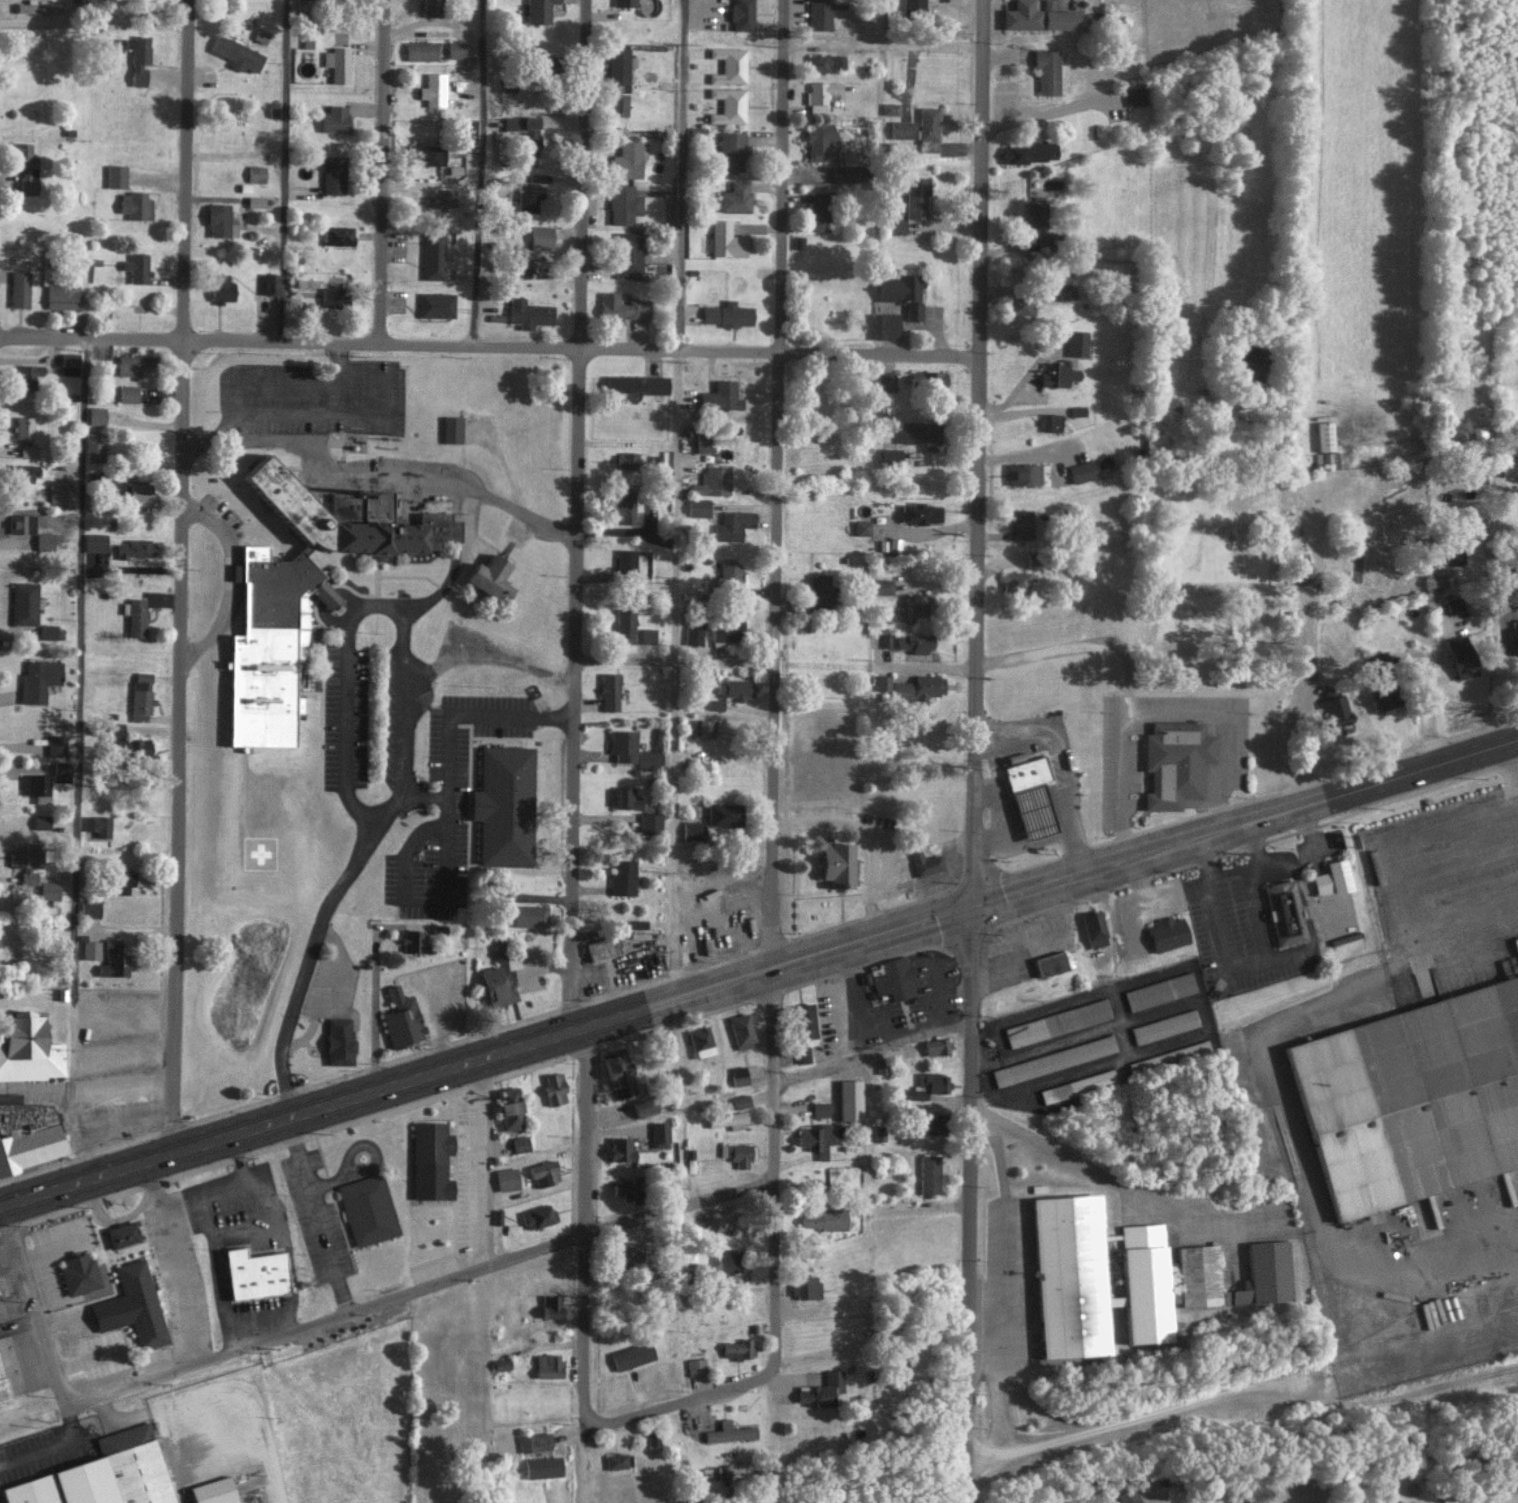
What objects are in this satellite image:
building: (623, 3)
building: (38, 7)
building: (432, 7)
building: (913, 8)
building: (539, 11)
building: (819, 14)
building: (742, 15)
building: (1039, 16)
road: (96, 25)
building: (260, 35)
building: (311, 40)
building: (110, 44)
road: (883, 44)
building: (455, 49)
building: (420, 50)
building: (237, 54)
building: (138, 58)
building: (838, 61)
building: (817, 62)
building: (338, 63)
building: (729, 65)
building: (620, 69)
building: (1047, 71)
building: (432, 89)
building: (820, 94)
building: (1134, 95)
building: (618, 104)
building: (728, 105)
building: (890, 108)
building: (334, 119)
building: (928, 122)
building: (470, 129)
building: (901, 129)
building: (696, 133)
building: (821, 141)
building: (530, 142)
building: (928, 145)
building: (731, 151)
building: (1029, 152)
building: (425, 154)
building: (627, 160)
building: (26, 167)
road: (284, 171)
road: (382, 172)
building: (256, 173)
road: (482, 173)
building: (846, 173)
building: (333, 174)
building: (116, 175)
building: (528, 196)
building: (735, 197)
building: (916, 197)
building: (440, 198)
building: (255, 201)
building: (623, 204)
building: (135, 205)
building: (818, 210)
building: (1035, 212)
building: (220, 221)
building: (896, 226)
building: (541, 232)
building: (338, 236)
building: (726, 240)
building: (433, 255)
building: (628, 255)
building: (529, 266)
building: (138, 268)
building: (270, 283)
building: (1065, 287)
building: (221, 288)
building: (19, 289)
building: (902, 292)
building: (332, 296)
building: (62, 297)
building: (436, 304)
building: (1017, 305)
building: (622, 307)
building: (529, 313)
building: (727, 314)
building: (885, 326)
building: (1076, 343)
road: (488, 346)
road: (337, 361)
building: (69, 363)
building: (135, 366)
building: (1058, 374)
building: (28, 377)
road: (374, 379)
building: (885, 381)
building: (930, 381)
building: (636, 383)
building: (127, 393)
building: (720, 396)
building: (96, 415)
building: (1051, 422)
building: (23, 427)
building: (451, 429)
building: (923, 432)
building: (1325, 436)
building: (703, 441)
building: (1156, 444)
building: (94, 446)
building: (27, 450)
road: (977, 452)
building: (890, 454)
building: (1326, 459)
building: (626, 460)
road: (331, 466)
building: (1511, 466)
building: (23, 471)
building: (1082, 471)
building: (1023, 474)
building: (712, 481)
road: (779, 483)
road: (515, 490)
building: (141, 493)
building: (61, 495)
road: (675, 498)
building: (624, 504)
building: (698, 507)
road: (575, 513)
building: (920, 513)
building: (21, 523)
building: (1023, 524)
building: (733, 525)
building: (861, 527)
building: (44, 541)
building: (95, 543)
building: (894, 544)
building: (136, 548)
building: (1456, 555)
building: (1033, 559)
building: (626, 561)
building: (1301, 568)
building: (729, 573)
road: (182, 575)
building: (490, 577)
building: (1438, 580)
road: (229, 581)
building: (1016, 581)
building: (880, 587)
building: (819, 591)
building: (302, 594)
building: (24, 603)
building: (1454, 604)
building: (916, 605)
road: (360, 606)
building: (135, 617)
building: (631, 629)
building: (47, 631)
building: (726, 631)
building: (693, 633)
building: (1516, 633)
building: (915, 642)
road: (483, 644)
building: (1516, 649)
building: (1462, 656)
road: (675, 663)
building: (1381, 663)
building: (38, 680)
building: (882, 682)
road: (1122, 683)
building: (919, 688)
building: (609, 692)
building: (730, 692)
building: (141, 696)
building: (1383, 698)
road: (404, 705)
building: (1335, 706)
building: (699, 727)
road: (1221, 727)
building: (116, 730)
building: (55, 745)
building: (622, 745)
building: (133, 748)
road: (78, 759)
building: (648, 760)
building: (1176, 762)
road: (1067, 770)
building: (61, 771)
building: (36, 787)
building: (1031, 797)
building: (627, 798)
building: (505, 805)
building: (724, 814)
road: (998, 815)
building: (41, 822)
building: (650, 822)
building: (98, 825)
building: (693, 830)
road: (372, 840)
helipad: (266, 857)
building: (25, 861)
building: (925, 863)
building: (838, 864)
building: (623, 877)
building: (1333, 878)
building: (122, 881)
building: (49, 890)
road: (423, 903)
traffic signals: (976, 905)
building: (89, 907)
building: (1285, 913)
building: (529, 915)
building: (1094, 929)
building: (1168, 934)
building: (414, 940)
building: (602, 947)
building: (90, 949)
building: (498, 951)
building: (113, 959)
building: (1051, 962)
road: (758, 971)
building: (892, 977)
building: (496, 985)
building: (1159, 990)
building: (402, 1018)
building: (805, 1020)
building: (1057, 1021)
building: (1164, 1025)
building: (742, 1029)
building: (339, 1040)
building: (701, 1040)
building: (936, 1045)
building: (29, 1047)
building: (803, 1054)
road: (875, 1054)
building: (1168, 1055)
building: (1053, 1059)
building: (738, 1075)
building: (926, 1085)
building: (1077, 1085)
building: (555, 1088)
building: (1413, 1096)
building: (850, 1099)
building: (741, 1101)
building: (644, 1105)
building: (510, 1107)
building: (820, 1108)
building: (728, 1120)
building: (930, 1122)
building: (27, 1132)
building: (879, 1132)
building: (659, 1134)
building: (815, 1138)
building: (520, 1143)
building: (621, 1148)
building: (737, 1153)
building: (431, 1160)
road: (483, 1161)
road: (775, 1170)
building: (544, 1172)
building: (929, 1173)
building: (506, 1178)
building: (626, 1187)
road: (970, 1204)
building: (367, 1209)
road: (318, 1213)
building: (538, 1215)
building: (823, 1219)
building: (121, 1234)
road: (583, 1241)
building: (628, 1256)
building: (729, 1259)
building: (1269, 1261)
road: (172, 1263)
building: (79, 1272)
building: (255, 1272)
building: (1072, 1275)
building: (1146, 1282)
road: (435, 1283)
building: (805, 1285)
building: (141, 1303)
building: (551, 1305)
road: (40, 1320)
building: (739, 1348)
building: (632, 1355)
building: (501, 1363)
building: (548, 1365)
building: (695, 1366)
building: (3, 1385)
road: (691, 1400)
building: (730, 1432)
building: (534, 1442)
building: (616, 1460)
building: (542, 1466)
building: (103, 1474)
building: (214, 1491)
building: (1128, 1496)
building: (1396, 1501)

